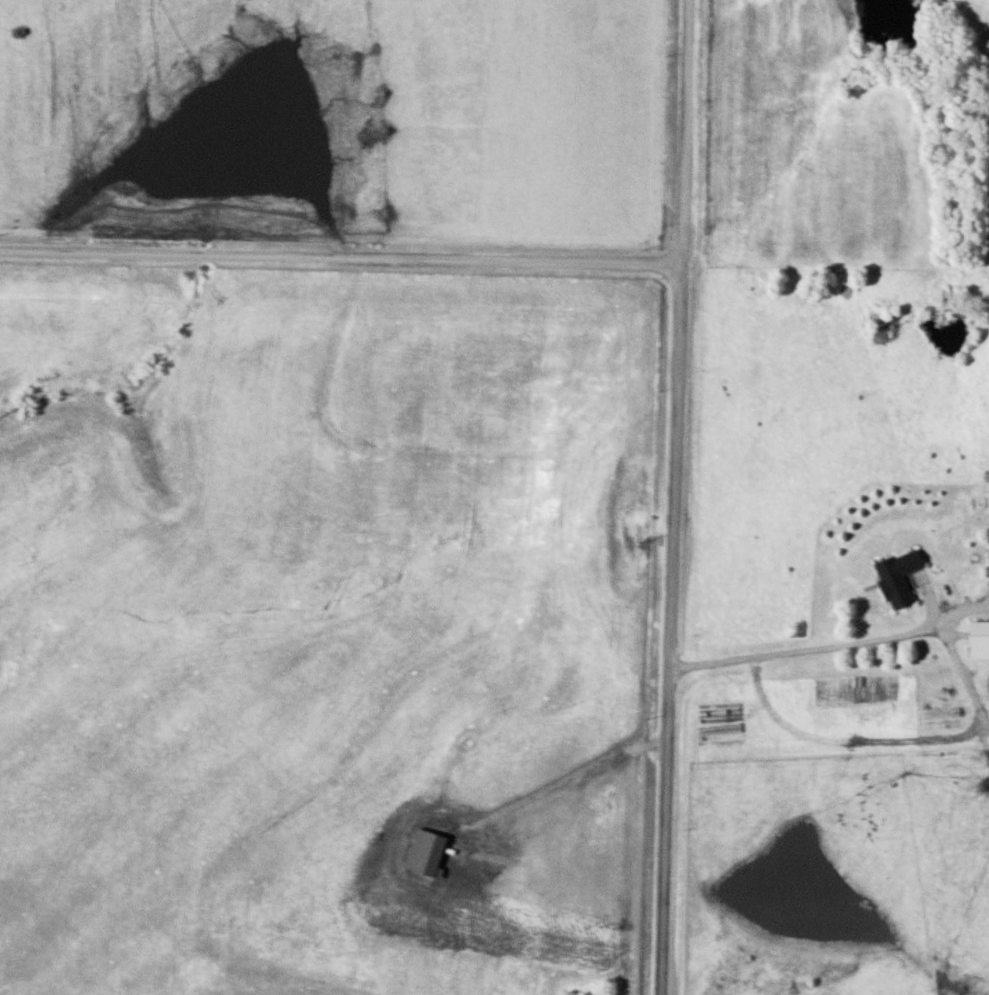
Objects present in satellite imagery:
road: (685, 132)
road: (341, 257)
building: (901, 577)
road: (667, 629)
building: (981, 639)
road: (803, 649)

